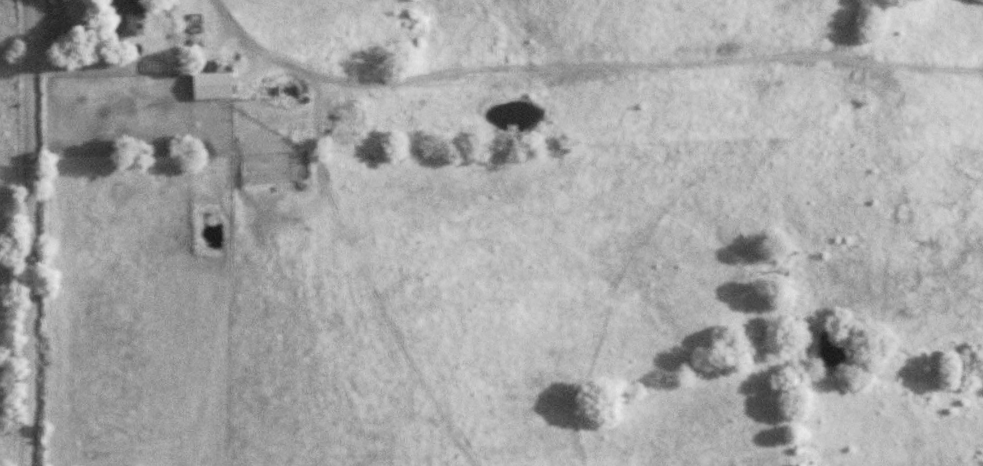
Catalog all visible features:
building: (122, 18)
building: (205, 90)
building: (249, 119)
road: (29, 233)

